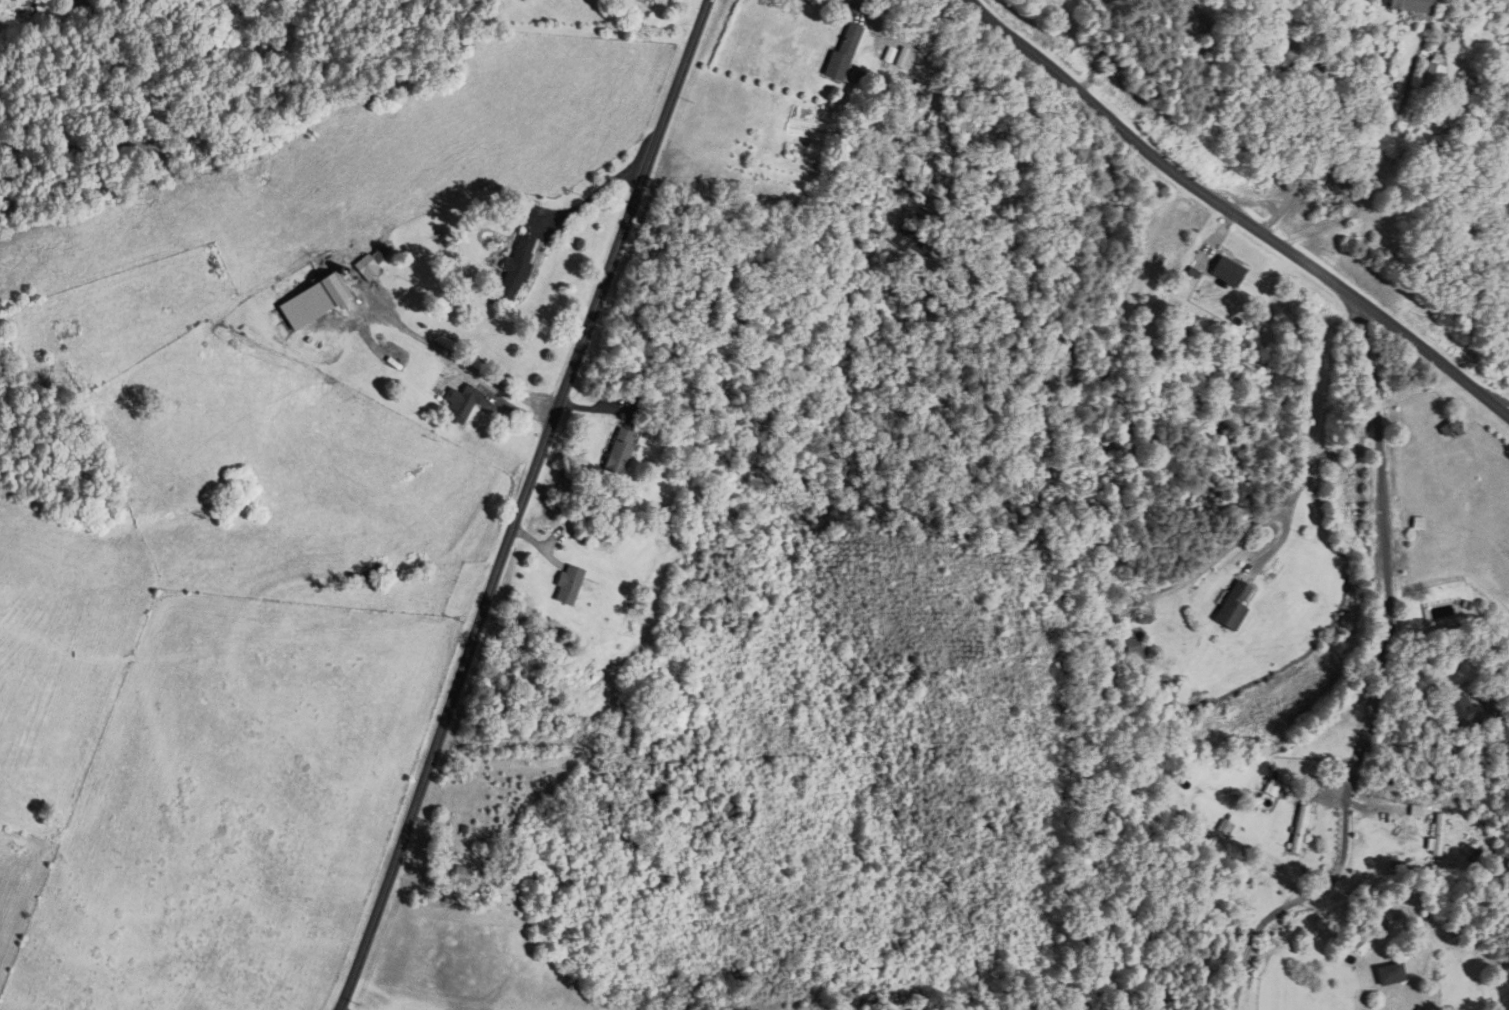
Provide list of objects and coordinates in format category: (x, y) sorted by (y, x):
building: (651, 0)
building: (1411, 5)
building: (1191, 34)
building: (846, 53)
building: (1437, 68)
building: (1466, 85)
road: (1235, 213)
building: (909, 235)
building: (367, 265)
building: (516, 267)
building: (1229, 271)
building: (316, 304)
road: (458, 360)
road: (488, 391)
road: (1499, 397)
road: (1504, 400)
building: (460, 404)
building: (1447, 428)
building: (619, 451)
road: (525, 504)
building: (567, 584)
building: (1239, 607)
building: (1141, 648)
road: (1383, 674)
building: (1466, 713)
building: (734, 807)
building: (1304, 829)
building: (1444, 835)
building: (464, 875)
building: (1393, 974)

